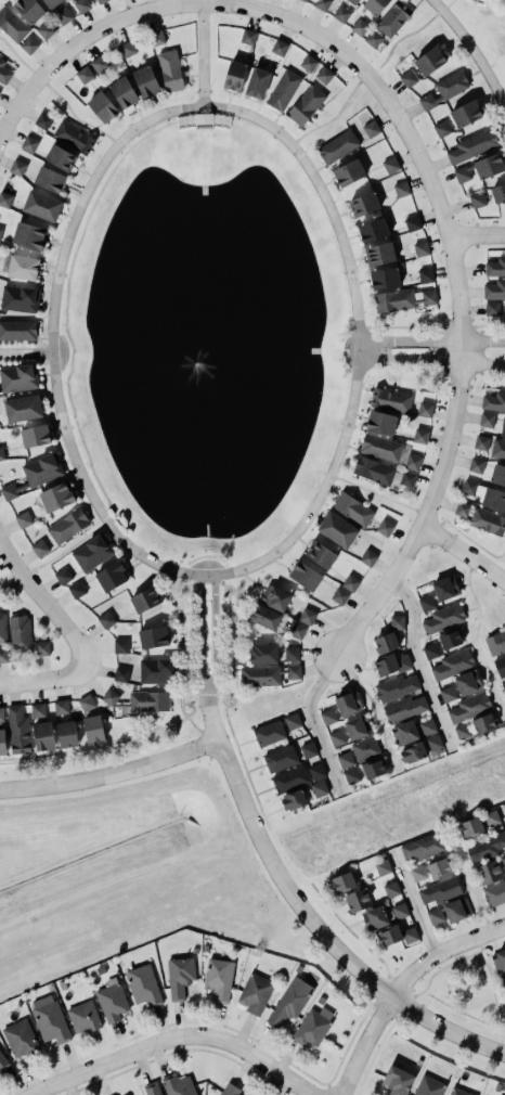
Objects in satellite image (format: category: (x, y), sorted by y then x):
building: (303, 0)
building: (102, 1)
building: (354, 1)
building: (52, 3)
building: (322, 4)
building: (81, 5)
building: (375, 5)
building: (28, 8)
building: (340, 14)
building: (63, 16)
building: (393, 18)
building: (12, 25)
building: (360, 27)
road: (307, 29)
building: (44, 30)
building: (248, 37)
building: (156, 38)
building: (373, 39)
building: (28, 46)
building: (279, 48)
building: (127, 49)
road: (470, 51)
road: (202, 52)
building: (428, 57)
building: (308, 63)
building: (99, 64)
building: (170, 70)
road: (371, 70)
building: (3, 72)
building: (233, 73)
building: (323, 73)
building: (85, 75)
building: (406, 77)
building: (146, 81)
building: (257, 82)
building: (283, 90)
building: (444, 90)
building: (0, 91)
building: (124, 92)
road: (56, 94)
building: (305, 103)
building: (102, 107)
road: (181, 110)
building: (466, 113)
building: (42, 120)
building: (441, 128)
building: (371, 129)
building: (74, 137)
building: (29, 143)
building: (472, 145)
building: (337, 146)
building: (61, 157)
building: (390, 165)
building: (480, 166)
building: (17, 167)
building: (349, 172)
building: (50, 179)
building: (401, 189)
building: (498, 193)
building: (5, 199)
building: (477, 199)
building: (362, 202)
building: (42, 206)
building: (412, 223)
building: (373, 230)
building: (0, 231)
building: (29, 235)
road: (477, 236)
building: (420, 248)
building: (378, 250)
building: (494, 265)
building: (23, 267)
building: (425, 275)
building: (385, 278)
building: (494, 289)
building: (20, 298)
building: (403, 299)
building: (492, 309)
building: (504, 311)
road: (431, 327)
building: (17, 330)
road: (431, 342)
road: (25, 352)
road: (431, 362)
building: (18, 378)
building: (390, 400)
building: (494, 401)
building: (23, 409)
building: (425, 410)
building: (379, 420)
building: (487, 420)
building: (503, 427)
building: (35, 436)
building: (419, 436)
building: (479, 440)
building: (496, 447)
building: (380, 448)
building: (1, 453)
building: (413, 462)
building: (476, 465)
building: (374, 471)
building: (496, 472)
building: (35, 473)
building: (407, 478)
building: (469, 487)
road: (378, 495)
building: (56, 497)
building: (493, 499)
building: (351, 507)
building: (461, 508)
road: (427, 510)
building: (23, 519)
building: (488, 521)
building: (66, 524)
building: (383, 526)
building: (337, 529)
road: (463, 536)
building: (38, 546)
building: (91, 551)
building: (320, 552)
road: (462, 554)
building: (368, 557)
road: (52, 558)
building: (109, 574)
building: (303, 574)
building: (63, 576)
road: (194, 581)
road: (220, 581)
building: (349, 581)
building: (445, 588)
building: (77, 589)
road: (183, 593)
road: (224, 593)
building: (338, 594)
building: (273, 596)
building: (145, 600)
road: (43, 602)
building: (426, 603)
building: (263, 615)
building: (307, 616)
building: (443, 618)
building: (106, 620)
building: (397, 622)
building: (2, 628)
building: (297, 630)
building: (20, 633)
building: (152, 634)
road: (476, 634)
building: (448, 636)
road: (199, 639)
road: (215, 639)
building: (495, 642)
building: (385, 643)
building: (119, 644)
road: (228, 644)
building: (42, 648)
road: (185, 648)
building: (429, 649)
building: (261, 650)
building: (289, 653)
building: (3, 655)
building: (389, 661)
road: (417, 662)
building: (452, 665)
building: (500, 665)
building: (156, 671)
building: (266, 673)
building: (120, 674)
road: (44, 680)
building: (468, 682)
building: (503, 685)
building: (396, 687)
building: (448, 694)
building: (109, 697)
building: (146, 699)
building: (87, 703)
building: (348, 704)
building: (468, 706)
building: (61, 707)
road: (228, 707)
building: (402, 707)
building: (36, 708)
road: (372, 709)
building: (0, 713)
road: (185, 714)
building: (328, 716)
road: (211, 721)
building: (293, 721)
road: (313, 721)
building: (482, 722)
building: (92, 726)
building: (357, 726)
building: (427, 726)
building: (16, 729)
road: (198, 731)
building: (268, 731)
building: (403, 731)
building: (463, 731)
building: (65, 732)
building: (42, 734)
building: (336, 738)
building: (1, 739)
building: (433, 743)
road: (95, 747)
building: (363, 747)
building: (308, 750)
building: (411, 750)
building: (280, 758)
building: (344, 758)
building: (371, 766)
road: (243, 769)
building: (316, 771)
road: (109, 773)
building: (350, 774)
building: (289, 778)
building: (318, 787)
building: (293, 798)
road: (503, 812)
building: (491, 817)
building: (471, 827)
building: (423, 847)
building: (484, 848)
road: (288, 858)
building: (503, 862)
building: (383, 867)
building: (439, 868)
building: (488, 872)
building: (417, 873)
building: (342, 883)
road: (467, 884)
building: (391, 889)
building: (439, 889)
building: (494, 892)
building: (358, 900)
road: (411, 903)
building: (456, 910)
building: (400, 911)
building: (435, 916)
building: (374, 918)
building: (396, 933)
road: (321, 935)
road: (357, 937)
road: (440, 953)
building: (498, 961)
road: (430, 975)
building: (179, 976)
building: (219, 979)
road: (491, 979)
building: (502, 981)
building: (143, 986)
building: (255, 993)
building: (111, 1001)
building: (289, 1002)
building: (83, 1017)
building: (49, 1019)
building: (312, 1027)
road: (180, 1038)
building: (21, 1039)
road: (361, 1044)
building: (2, 1060)
building: (397, 1081)
building: (178, 1085)
building: (428, 1086)
building: (151, 1088)
building: (229, 1090)
road: (31, 1091)
building: (457, 1092)

